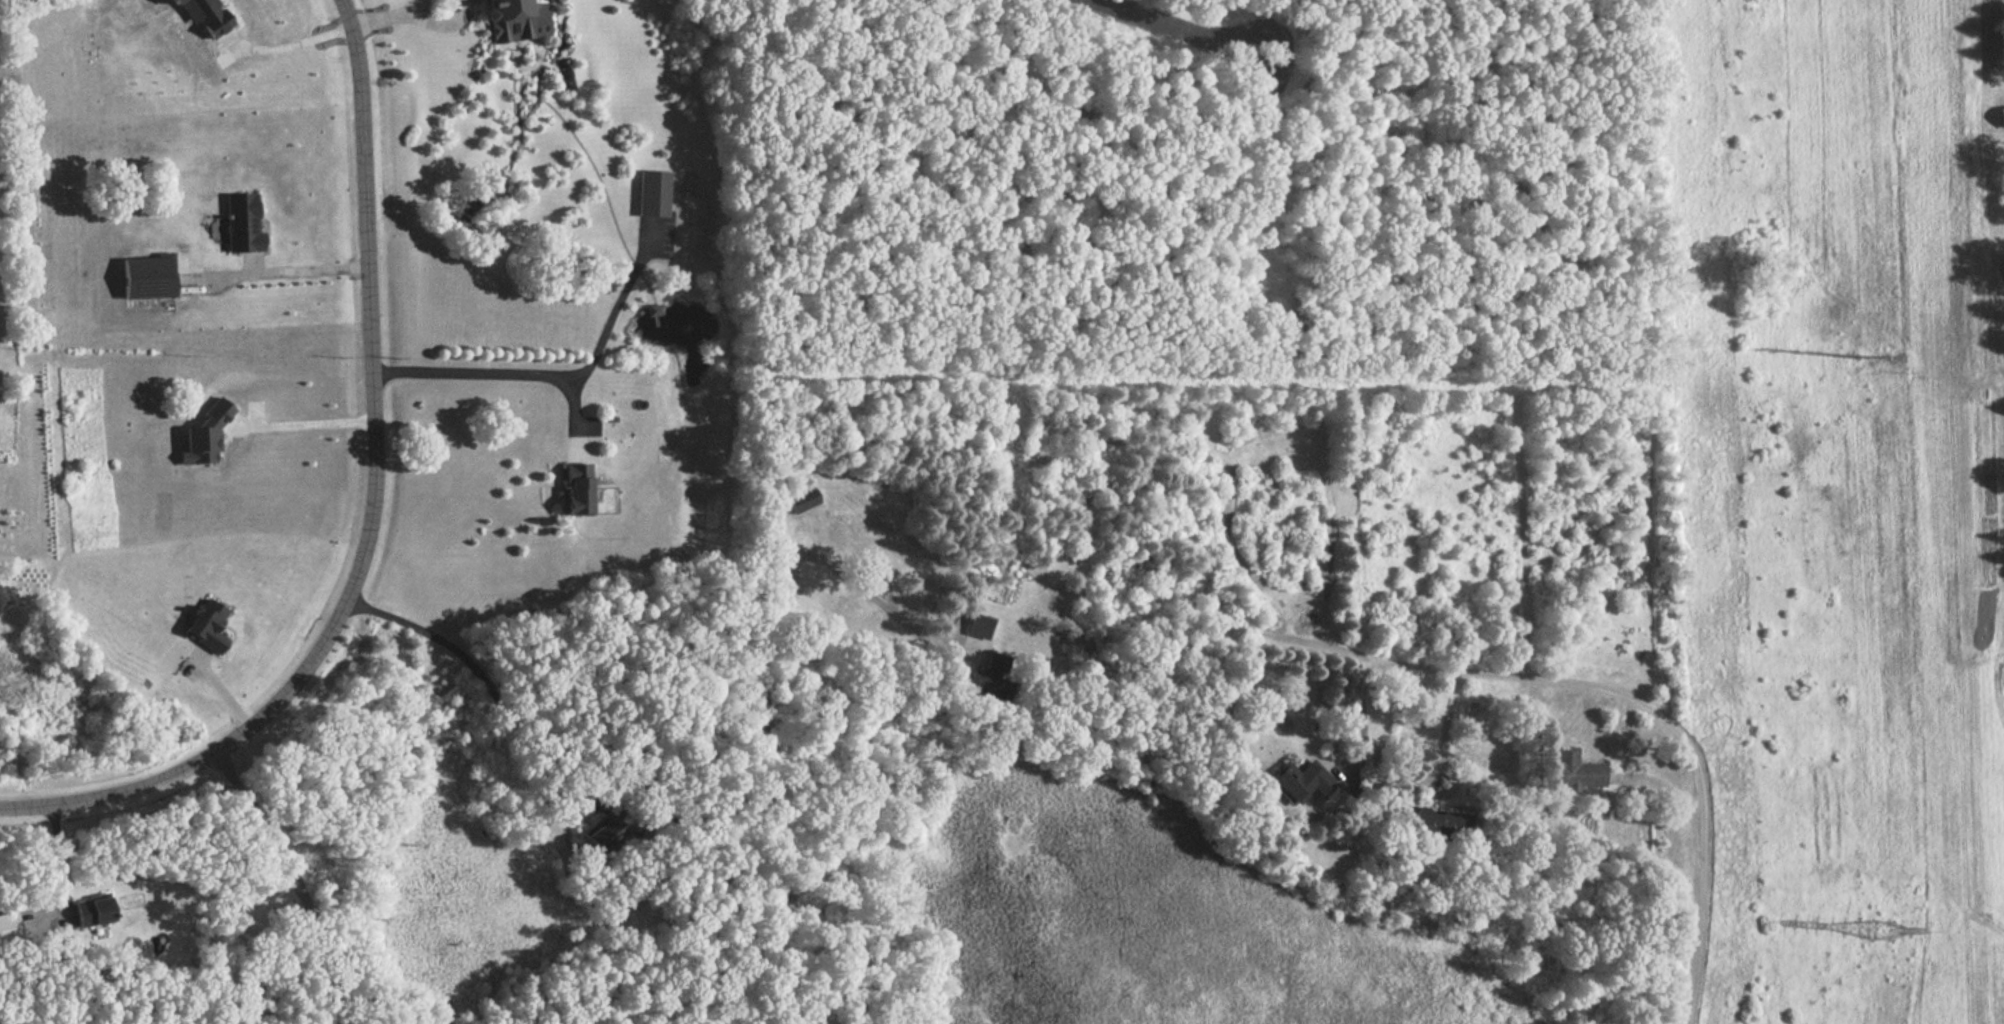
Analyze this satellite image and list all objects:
road: (385, 18)
building: (514, 18)
road: (436, 24)
road: (285, 43)
building: (1998, 117)
building: (1932, 147)
road: (605, 192)
building: (651, 192)
building: (238, 229)
parking lot: (655, 236)
road: (250, 267)
road: (273, 274)
building: (143, 281)
road: (625, 284)
building: (654, 307)
pier: (657, 318)
power tower: (1859, 357)
road: (588, 367)
road: (472, 373)
road: (574, 407)
road: (256, 416)
road: (300, 426)
road: (585, 426)
road: (574, 447)
building: (568, 488)
building: (801, 501)
road: (371, 516)
building: (977, 627)
building: (205, 628)
road: (191, 667)
road: (763, 676)
road: (483, 681)
building: (988, 681)
road: (220, 692)
road: (1669, 726)
road: (1338, 759)
road: (1437, 760)
building: (1572, 771)
building: (1295, 780)
road: (1668, 781)
building: (604, 834)
road: (58, 859)
road: (296, 879)
building: (89, 913)
road: (53, 915)
power tower: (1882, 934)

